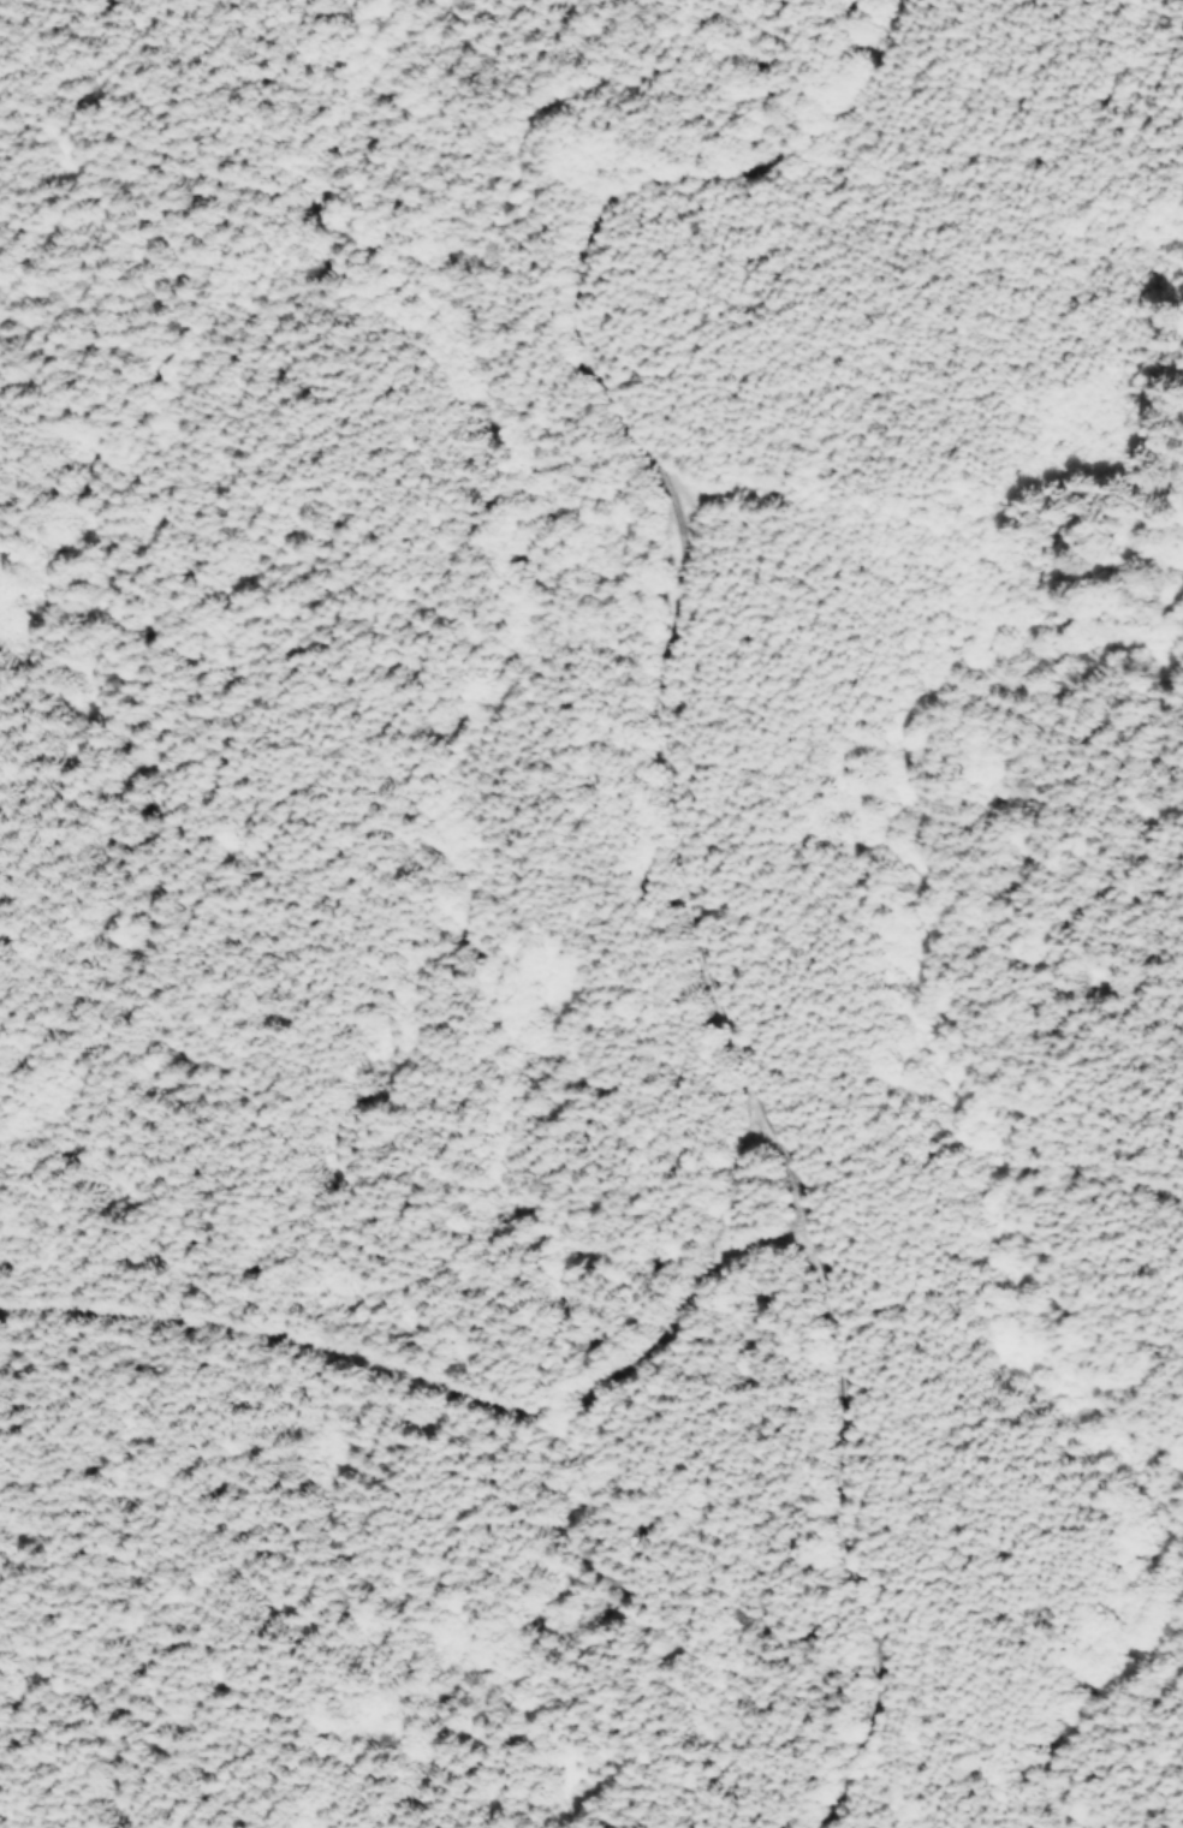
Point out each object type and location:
road: (683, 909)

